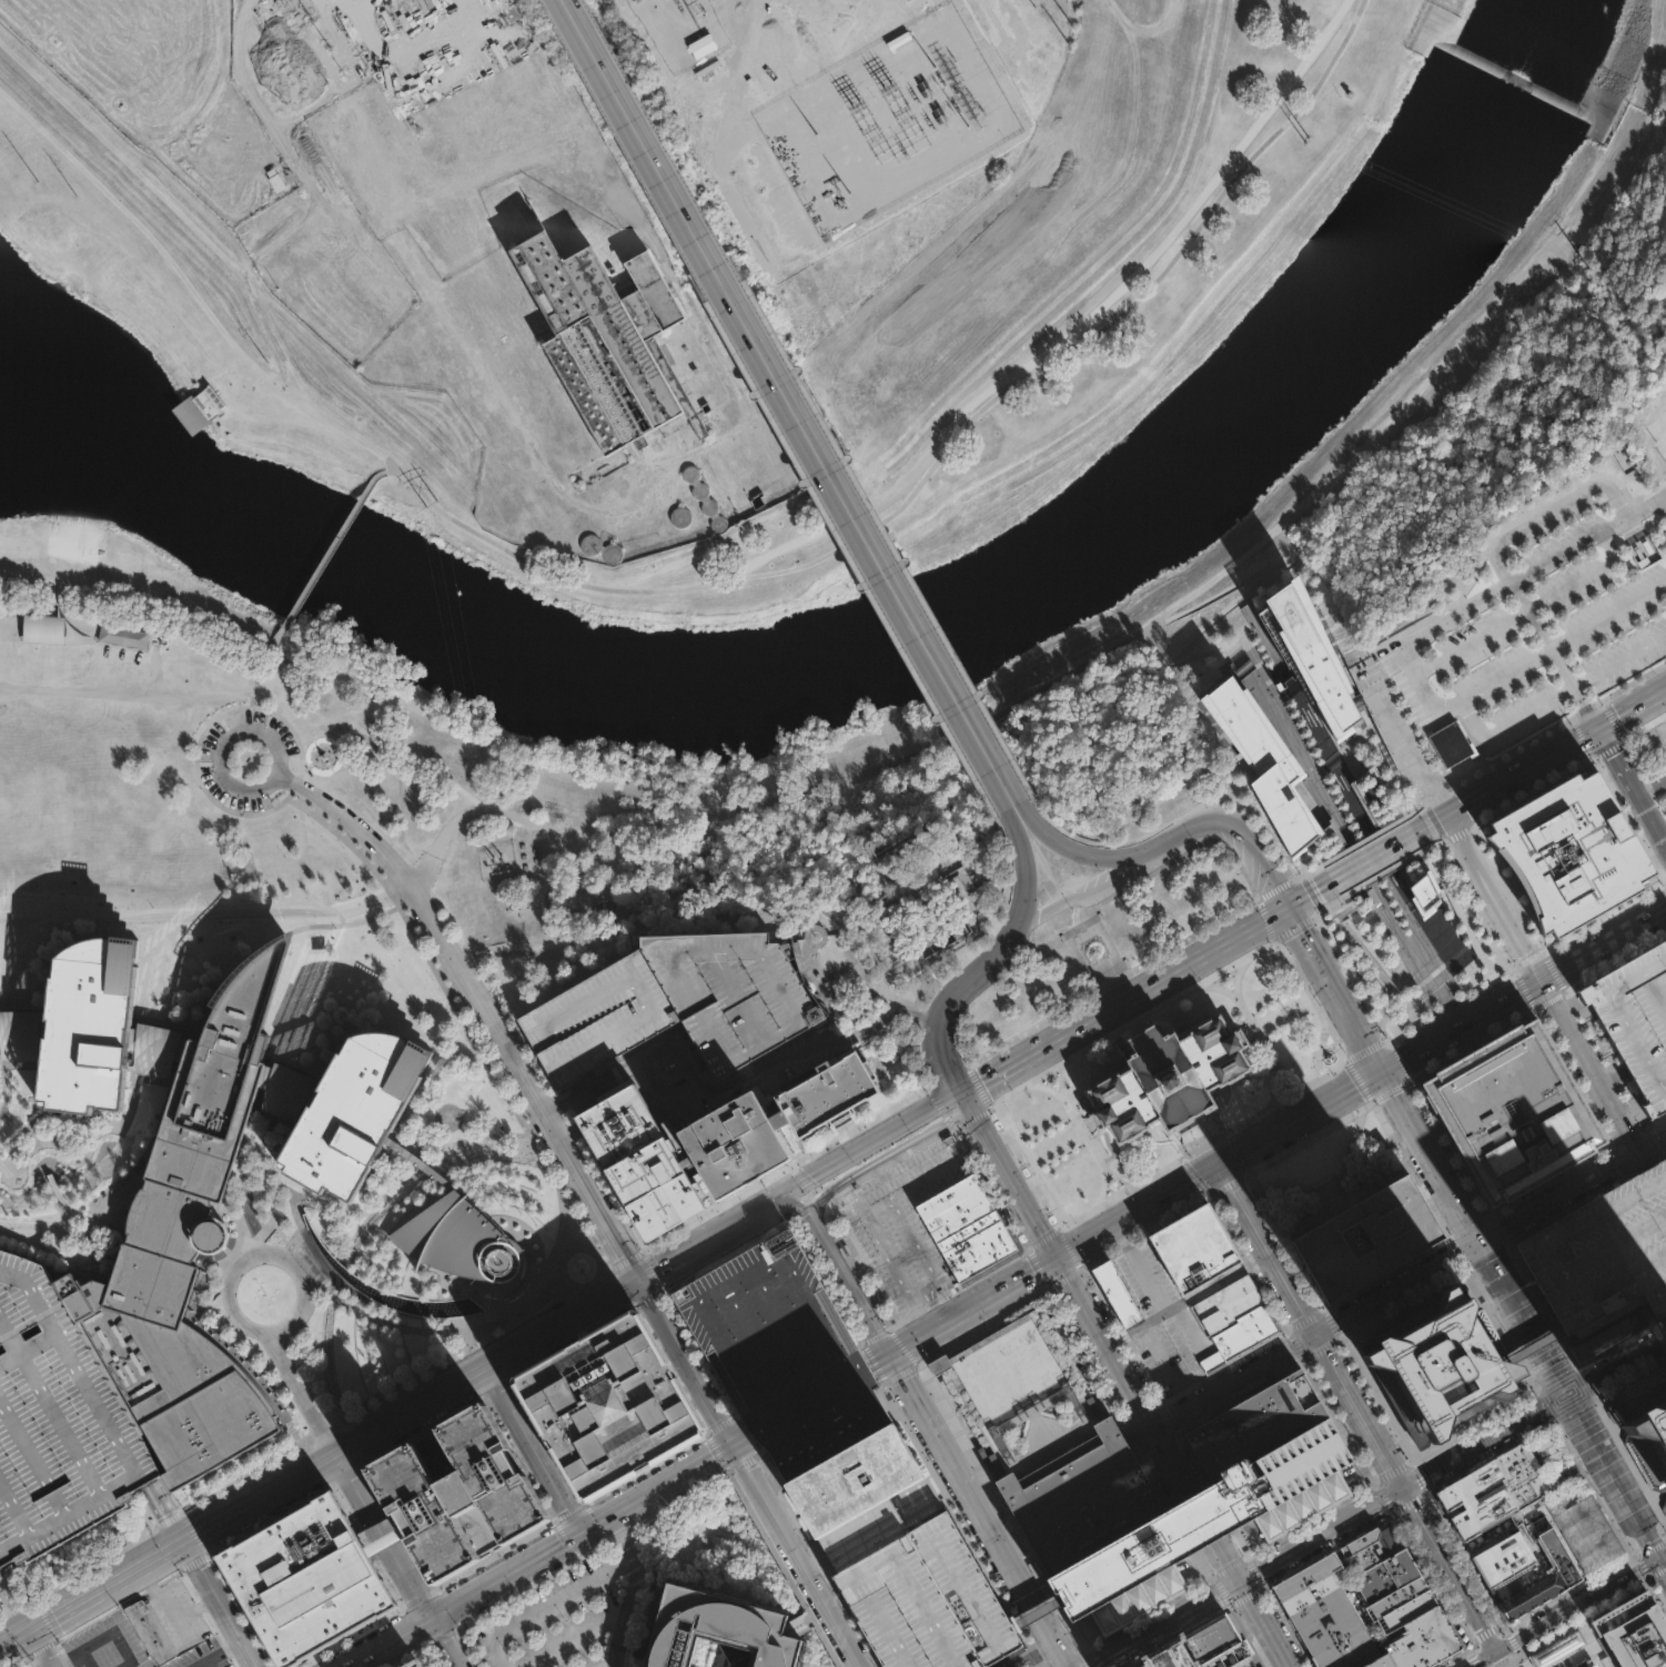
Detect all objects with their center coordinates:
road: (376, 44)
power tower: (330, 50)
road: (1656, 75)
power tower: (37, 180)
building: (275, 180)
power tower: (75, 195)
road: (623, 196)
park: (1030, 199)
road: (1575, 221)
park: (1547, 247)
road: (426, 299)
road: (1077, 327)
building: (603, 339)
park: (1214, 375)
river: (49, 385)
park: (144, 388)
road: (787, 402)
building: (199, 407)
road: (322, 412)
river: (49, 437)
road: (946, 455)
road: (391, 471)
building: (705, 498)
power tower: (427, 507)
road: (1547, 507)
road: (333, 548)
road: (1536, 574)
road: (1584, 576)
road: (140, 596)
road: (39, 607)
road: (158, 618)
river: (923, 628)
building: (43, 629)
building: (101, 633)
building: (132, 635)
road: (280, 635)
parking lot: (1531, 637)
road: (1182, 646)
road: (1561, 655)
road: (163, 658)
road: (289, 658)
building: (1315, 663)
road: (1524, 664)
road: (259, 675)
road: (121, 683)
road: (1555, 694)
road: (999, 697)
road: (377, 728)
road: (201, 731)
road: (271, 740)
road: (331, 748)
park: (516, 750)
building: (1447, 751)
parking lot: (1653, 756)
road: (306, 765)
building: (1263, 765)
building: (1658, 769)
road: (1634, 784)
road: (1478, 798)
road: (320, 799)
road: (398, 805)
road: (1012, 807)
road: (1164, 838)
road: (440, 845)
road: (656, 849)
building: (1566, 853)
power tower: (495, 856)
road: (1367, 859)
power substation: (496, 860)
road: (1024, 883)
road: (1102, 889)
building: (845, 890)
building: (1424, 893)
road: (1498, 899)
road: (730, 900)
traffic signals: (1291, 905)
road: (174, 909)
building: (927, 912)
road: (362, 920)
road: (1303, 936)
park: (1103, 943)
road: (1271, 944)
road: (1605, 948)
road: (1421, 959)
road: (1511, 961)
road: (1236, 976)
road: (1158, 979)
road: (959, 992)
building: (674, 999)
parking lot: (674, 999)
building: (1635, 1016)
parking garage: (1635, 1016)
road: (1350, 1020)
building: (87, 1021)
road: (1134, 1021)
road: (1253, 1028)
road: (1251, 1029)
road: (1254, 1030)
road: (1463, 1030)
building: (20, 1033)
road: (1239, 1035)
building: (153, 1047)
road: (506, 1050)
road: (1319, 1052)
road: (946, 1068)
road: (992, 1072)
road: (1063, 1072)
building: (1164, 1074)
traffic signals: (1381, 1074)
road: (1593, 1074)
road: (1290, 1077)
road: (725, 1083)
building: (282, 1088)
building: (826, 1091)
traffic signals: (960, 1091)
road: (966, 1100)
building: (352, 1108)
road: (1216, 1108)
traffic signals: (971, 1109)
building: (1517, 1112)
road: (1299, 1119)
road: (1192, 1124)
road: (1082, 1127)
road: (1104, 1129)
road: (1081, 1133)
road: (1049, 1134)
road: (1143, 1134)
road: (1200, 1138)
building: (734, 1142)
road: (868, 1143)
road: (1203, 1143)
traffic signals: (1634, 1151)
road: (1060, 1152)
road: (886, 1154)
building: (636, 1156)
building: (417, 1161)
traffic signals: (1218, 1165)
park: (1331, 1169)
road: (937, 1170)
road: (1119, 1176)
road: (1014, 1184)
road: (1228, 1184)
road: (1654, 1185)
road: (791, 1203)
building: (953, 1208)
road: (1137, 1211)
road: (61, 1226)
road: (1488, 1230)
road: (1476, 1231)
road: (707, 1237)
building: (458, 1239)
building: (1369, 1239)
road: (907, 1242)
building: (188, 1245)
building: (976, 1245)
building: (1194, 1249)
building: (1603, 1251)
parking garage: (1603, 1251)
traffic signals: (1059, 1260)
road: (1140, 1267)
road: (847, 1283)
building: (1114, 1290)
road: (1189, 1297)
road: (938, 1303)
road: (972, 1307)
building: (1235, 1316)
parking lot: (1162, 1321)
road: (1653, 1324)
road: (253, 1330)
traffic signals: (1314, 1331)
road: (1107, 1340)
road: (1622, 1341)
road: (1532, 1347)
building: (780, 1351)
parking garage: (780, 1351)
road: (877, 1361)
road: (687, 1362)
road: (1616, 1362)
building: (1441, 1364)
road: (487, 1367)
road: (1234, 1376)
road: (713, 1387)
traffic signals: (1567, 1391)
road: (301, 1393)
road: (808, 1401)
building: (605, 1406)
road: (1357, 1407)
road: (1554, 1422)
building: (55, 1423)
parking garage: (55, 1423)
road: (1473, 1425)
road: (1611, 1426)
building: (1647, 1426)
road: (1485, 1437)
road: (743, 1441)
traffic signals: (736, 1445)
road: (532, 1452)
road: (1391, 1472)
road: (1613, 1474)
road: (1418, 1475)
building: (854, 1481)
traffic signals: (1403, 1485)
road: (1593, 1489)
building: (1491, 1491)
building: (454, 1492)
building: (1079, 1493)
road: (261, 1498)
road: (1382, 1499)
road: (1198, 1501)
building: (1300, 1505)
road: (1408, 1505)
road: (166, 1511)
road: (977, 1511)
road: (1309, 1520)
building: (861, 1533)
road: (1322, 1533)
building: (1586, 1533)
traffic signals: (580, 1534)
road: (383, 1537)
road: (382, 1538)
traffic signals: (185, 1543)
building: (1372, 1545)
road: (1325, 1547)
road: (1650, 1548)
road: (1634, 1555)
road: (541, 1556)
road: (798, 1556)
road: (1663, 1556)
traffic signals: (1659, 1558)
road: (1662, 1564)
road: (1228, 1566)
road: (1640, 1567)
building: (1537, 1572)
road: (1656, 1572)
road: (1254, 1573)
building: (1305, 1575)
road: (1472, 1575)
building: (304, 1578)
building: (1510, 1579)
traffic signals: (1241, 1582)
road: (109, 1587)
road: (633, 1589)
road: (1219, 1592)
road: (1436, 1592)
building: (1309, 1593)
building: (1137, 1597)
road: (1245, 1597)
road: (1654, 1597)
building: (926, 1600)
parking garage: (926, 1600)
road: (16, 1603)
road: (163, 1603)
road: (1577, 1604)
road: (220, 1605)
road: (549, 1605)
building: (1316, 1606)
road: (193, 1607)
road: (1037, 1610)
building: (1403, 1613)
parking lot: (180, 1614)
parking lot: (554, 1620)
road: (1168, 1624)
road: (1264, 1624)
road: (1288, 1626)
building: (1329, 1627)
building: (151, 1629)
traffic signals: (32, 1631)
building: (716, 1631)
building: (1630, 1631)
road: (1246, 1635)
road: (575, 1636)
road: (16, 1640)
road: (444, 1643)
parking lot: (104, 1644)
building: (1197, 1645)
building: (1557, 1648)
road: (42, 1649)
building: (1347, 1650)
park: (1563, 1650)
road: (221, 1651)
traffic signals: (1497, 1651)
parking lot: (202, 1656)
building: (1230, 1656)
road: (1452, 1657)
road: (1483, 1658)
road: (1502, 1659)
road: (72, 1660)
road: (609, 1663)
building: (1244, 1663)
road: (1582, 1663)
road: (201, 1664)
building: (411, 1664)
parking garage: (411, 1664)
road: (1521, 1664)
road: (1515, 1666)

